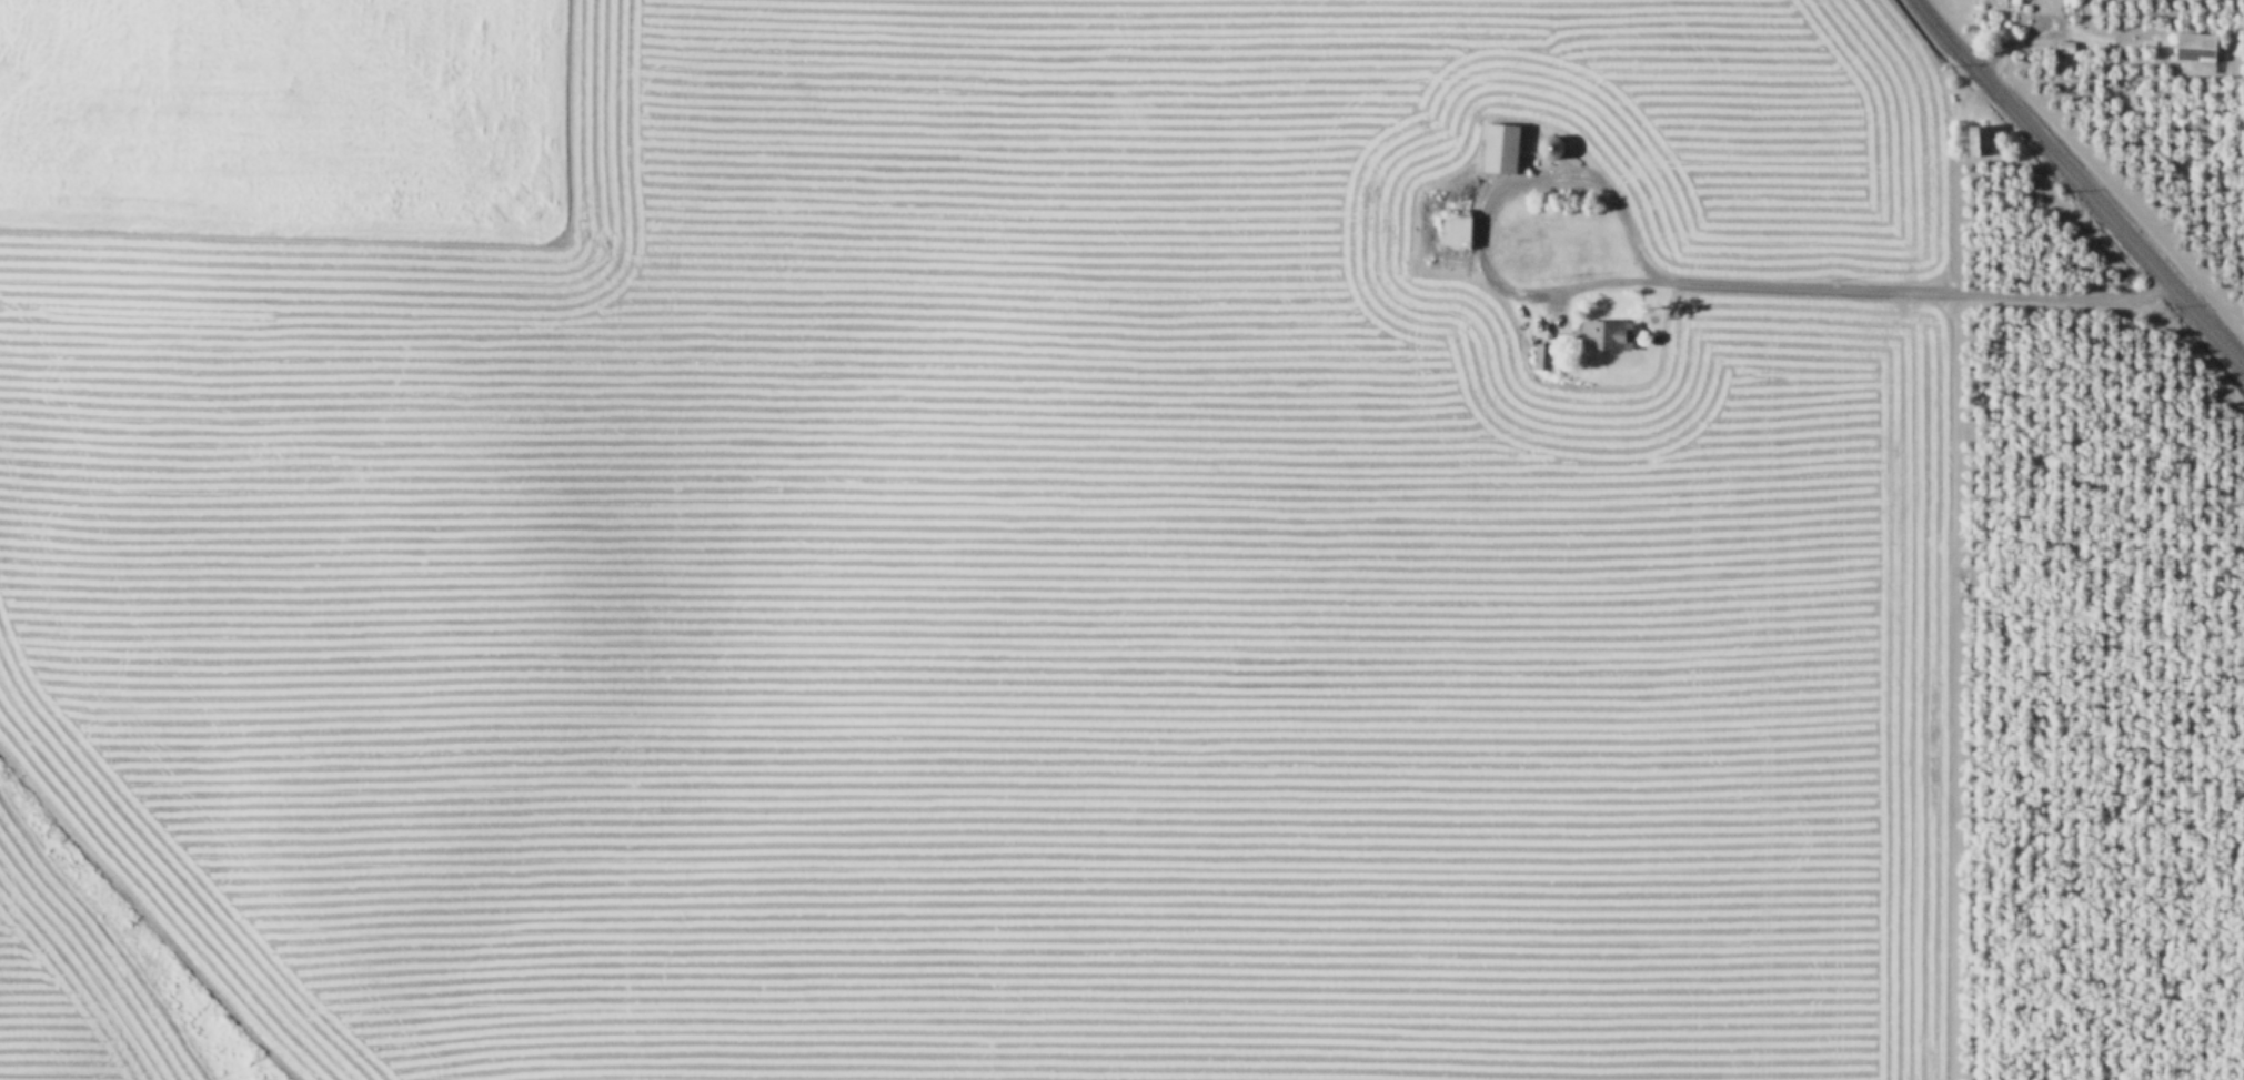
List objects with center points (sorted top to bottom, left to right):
road: (2057, 30)
building: (2063, 42)
building: (2194, 49)
crop: (2175, 81)
crop: (1020, 123)
building: (1975, 138)
building: (1546, 143)
building: (1498, 144)
road: (2079, 184)
building: (1452, 229)
road: (1673, 279)
building: (1602, 332)
building: (1540, 353)
crop: (1101, 686)

